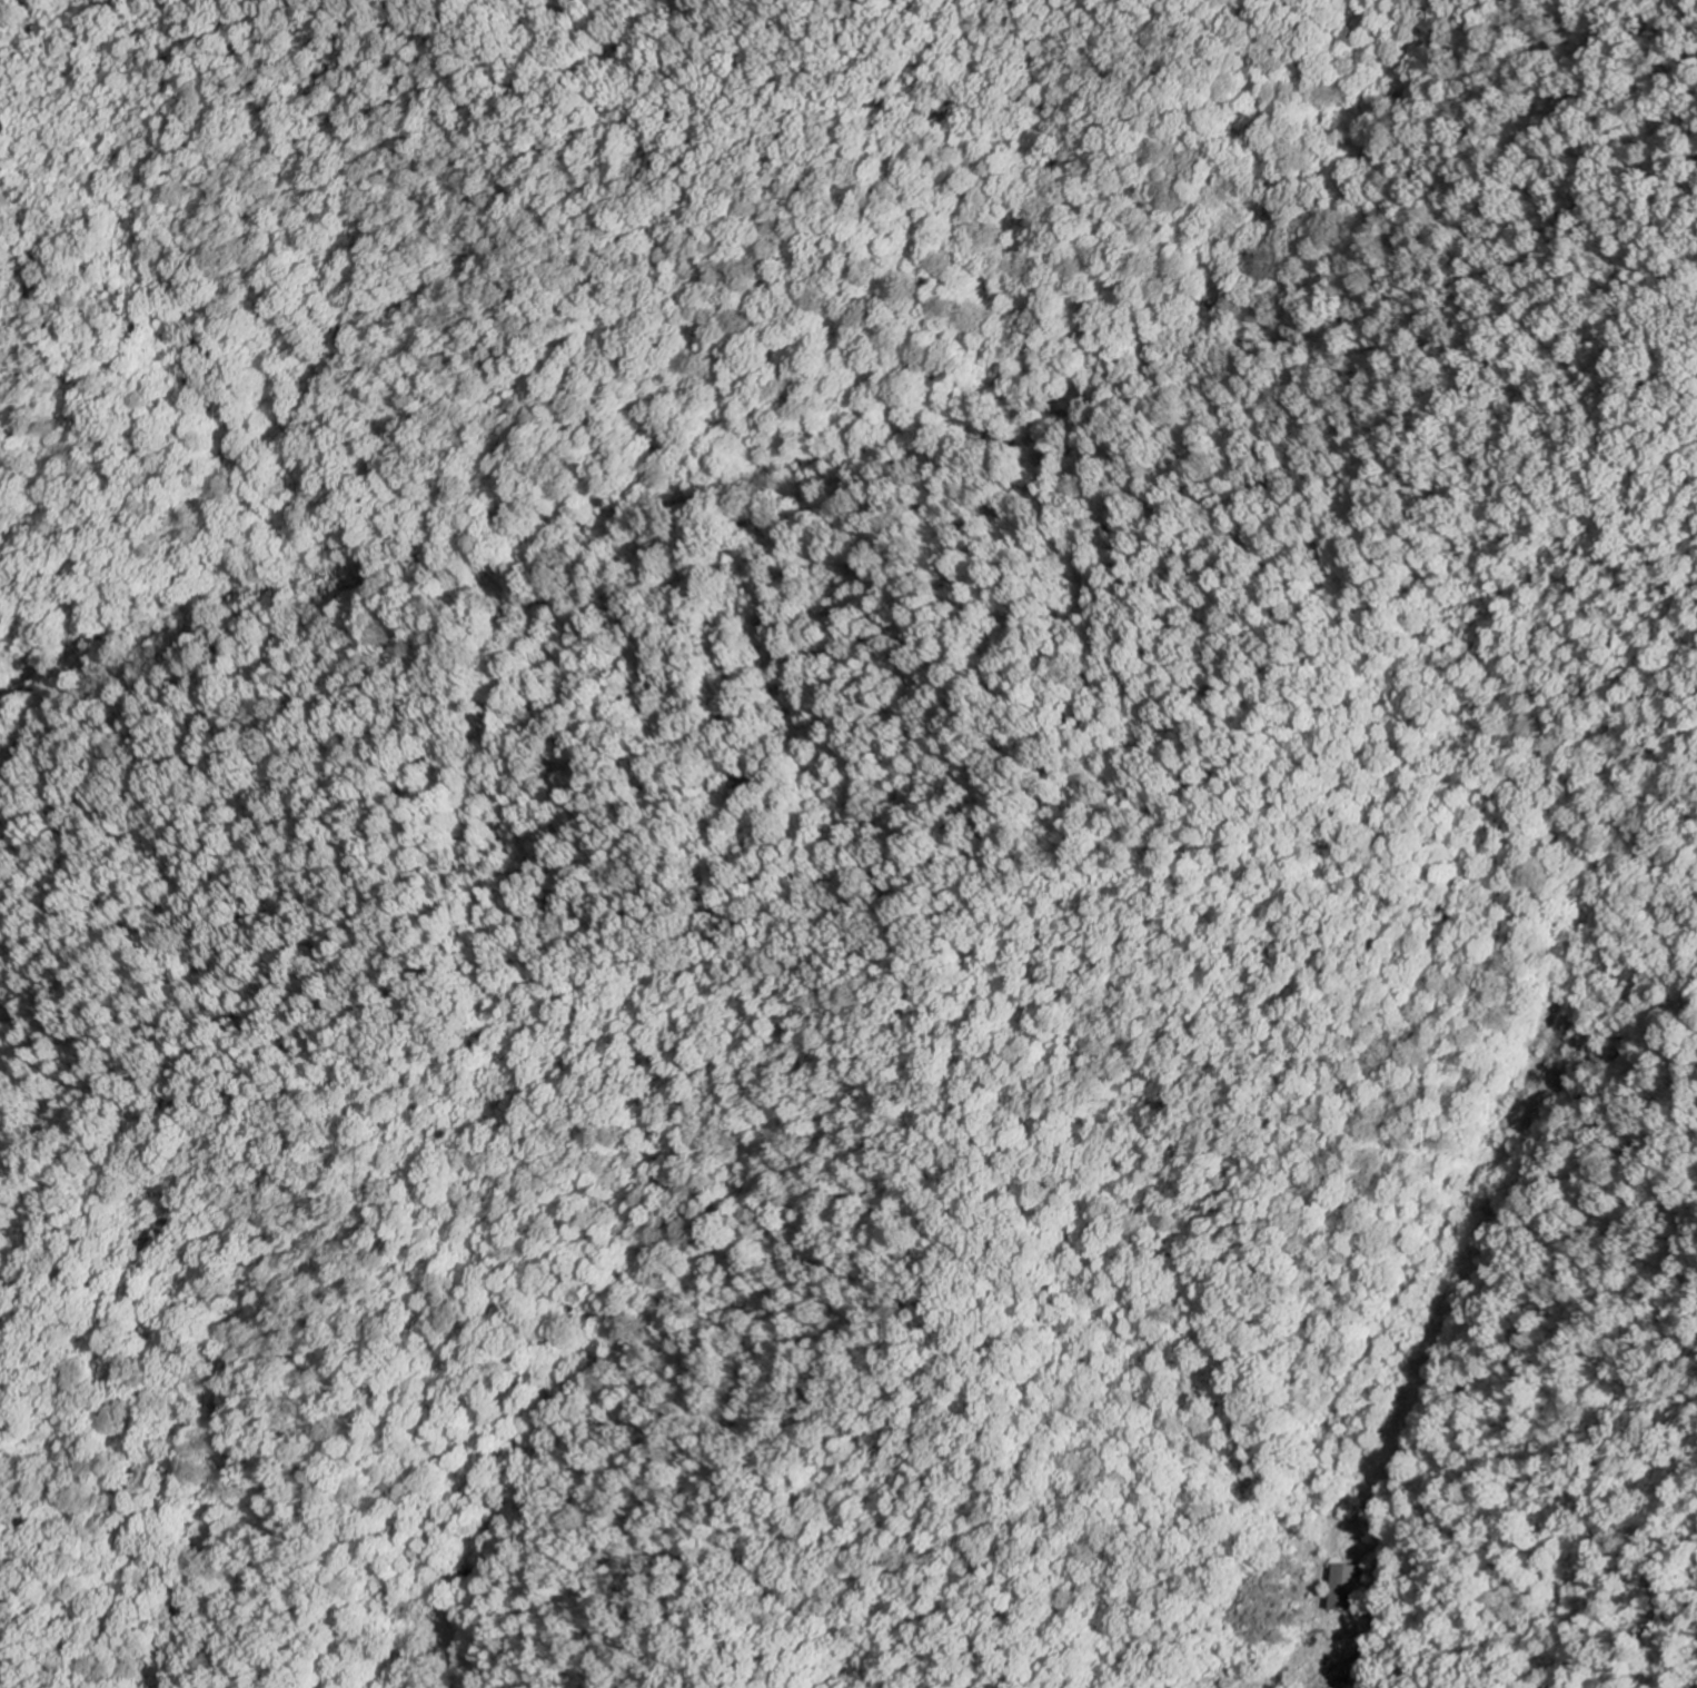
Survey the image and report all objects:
building: (1346, 1590)

